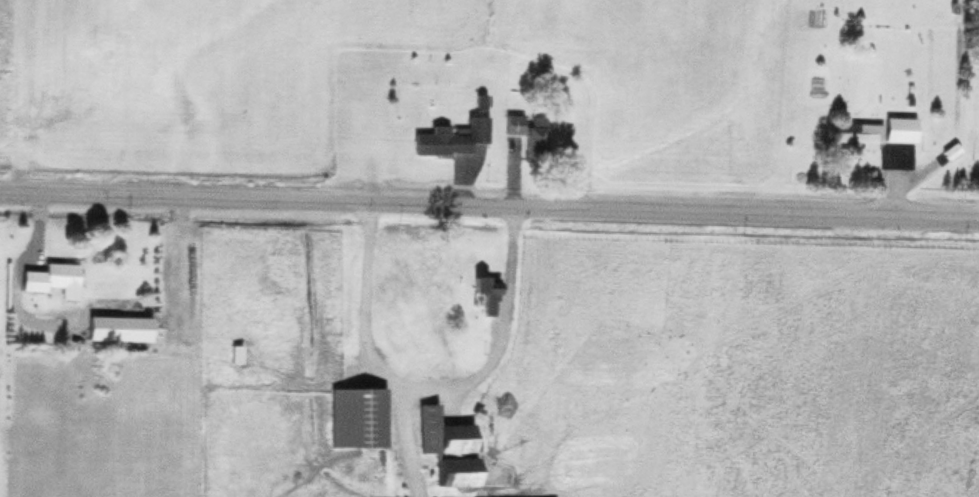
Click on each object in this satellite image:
building: (896, 127)
building: (525, 130)
building: (853, 132)
building: (448, 136)
road: (489, 204)
building: (48, 277)
building: (485, 292)
building: (98, 325)
building: (355, 415)
building: (444, 445)

